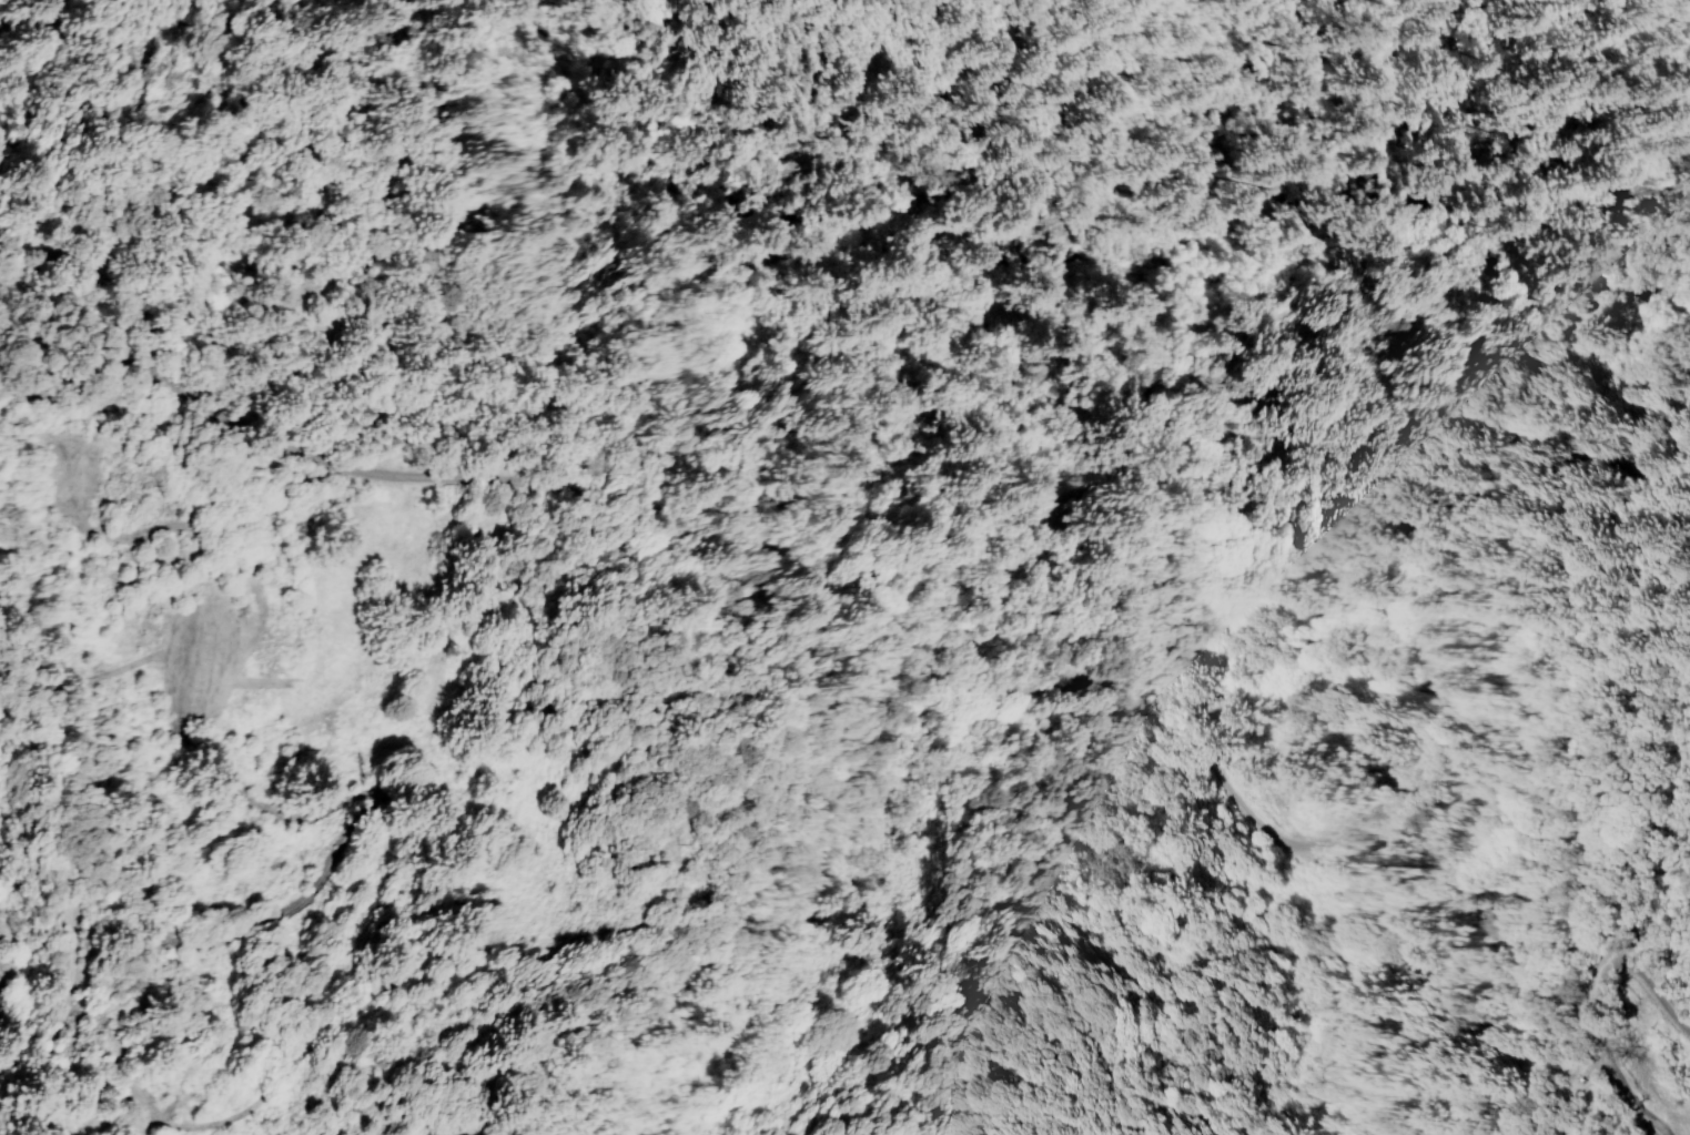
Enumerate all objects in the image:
road: (73, 376)
road: (937, 668)

